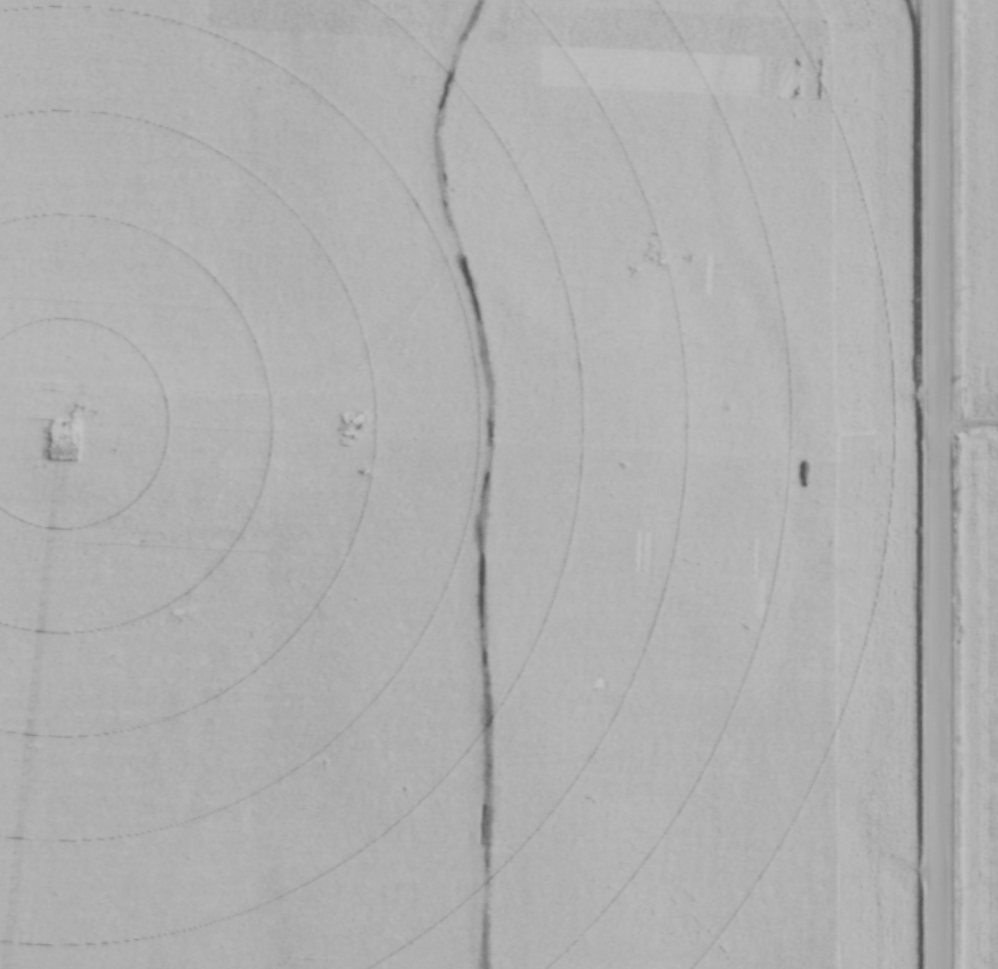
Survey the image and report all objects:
road: (935, 484)

